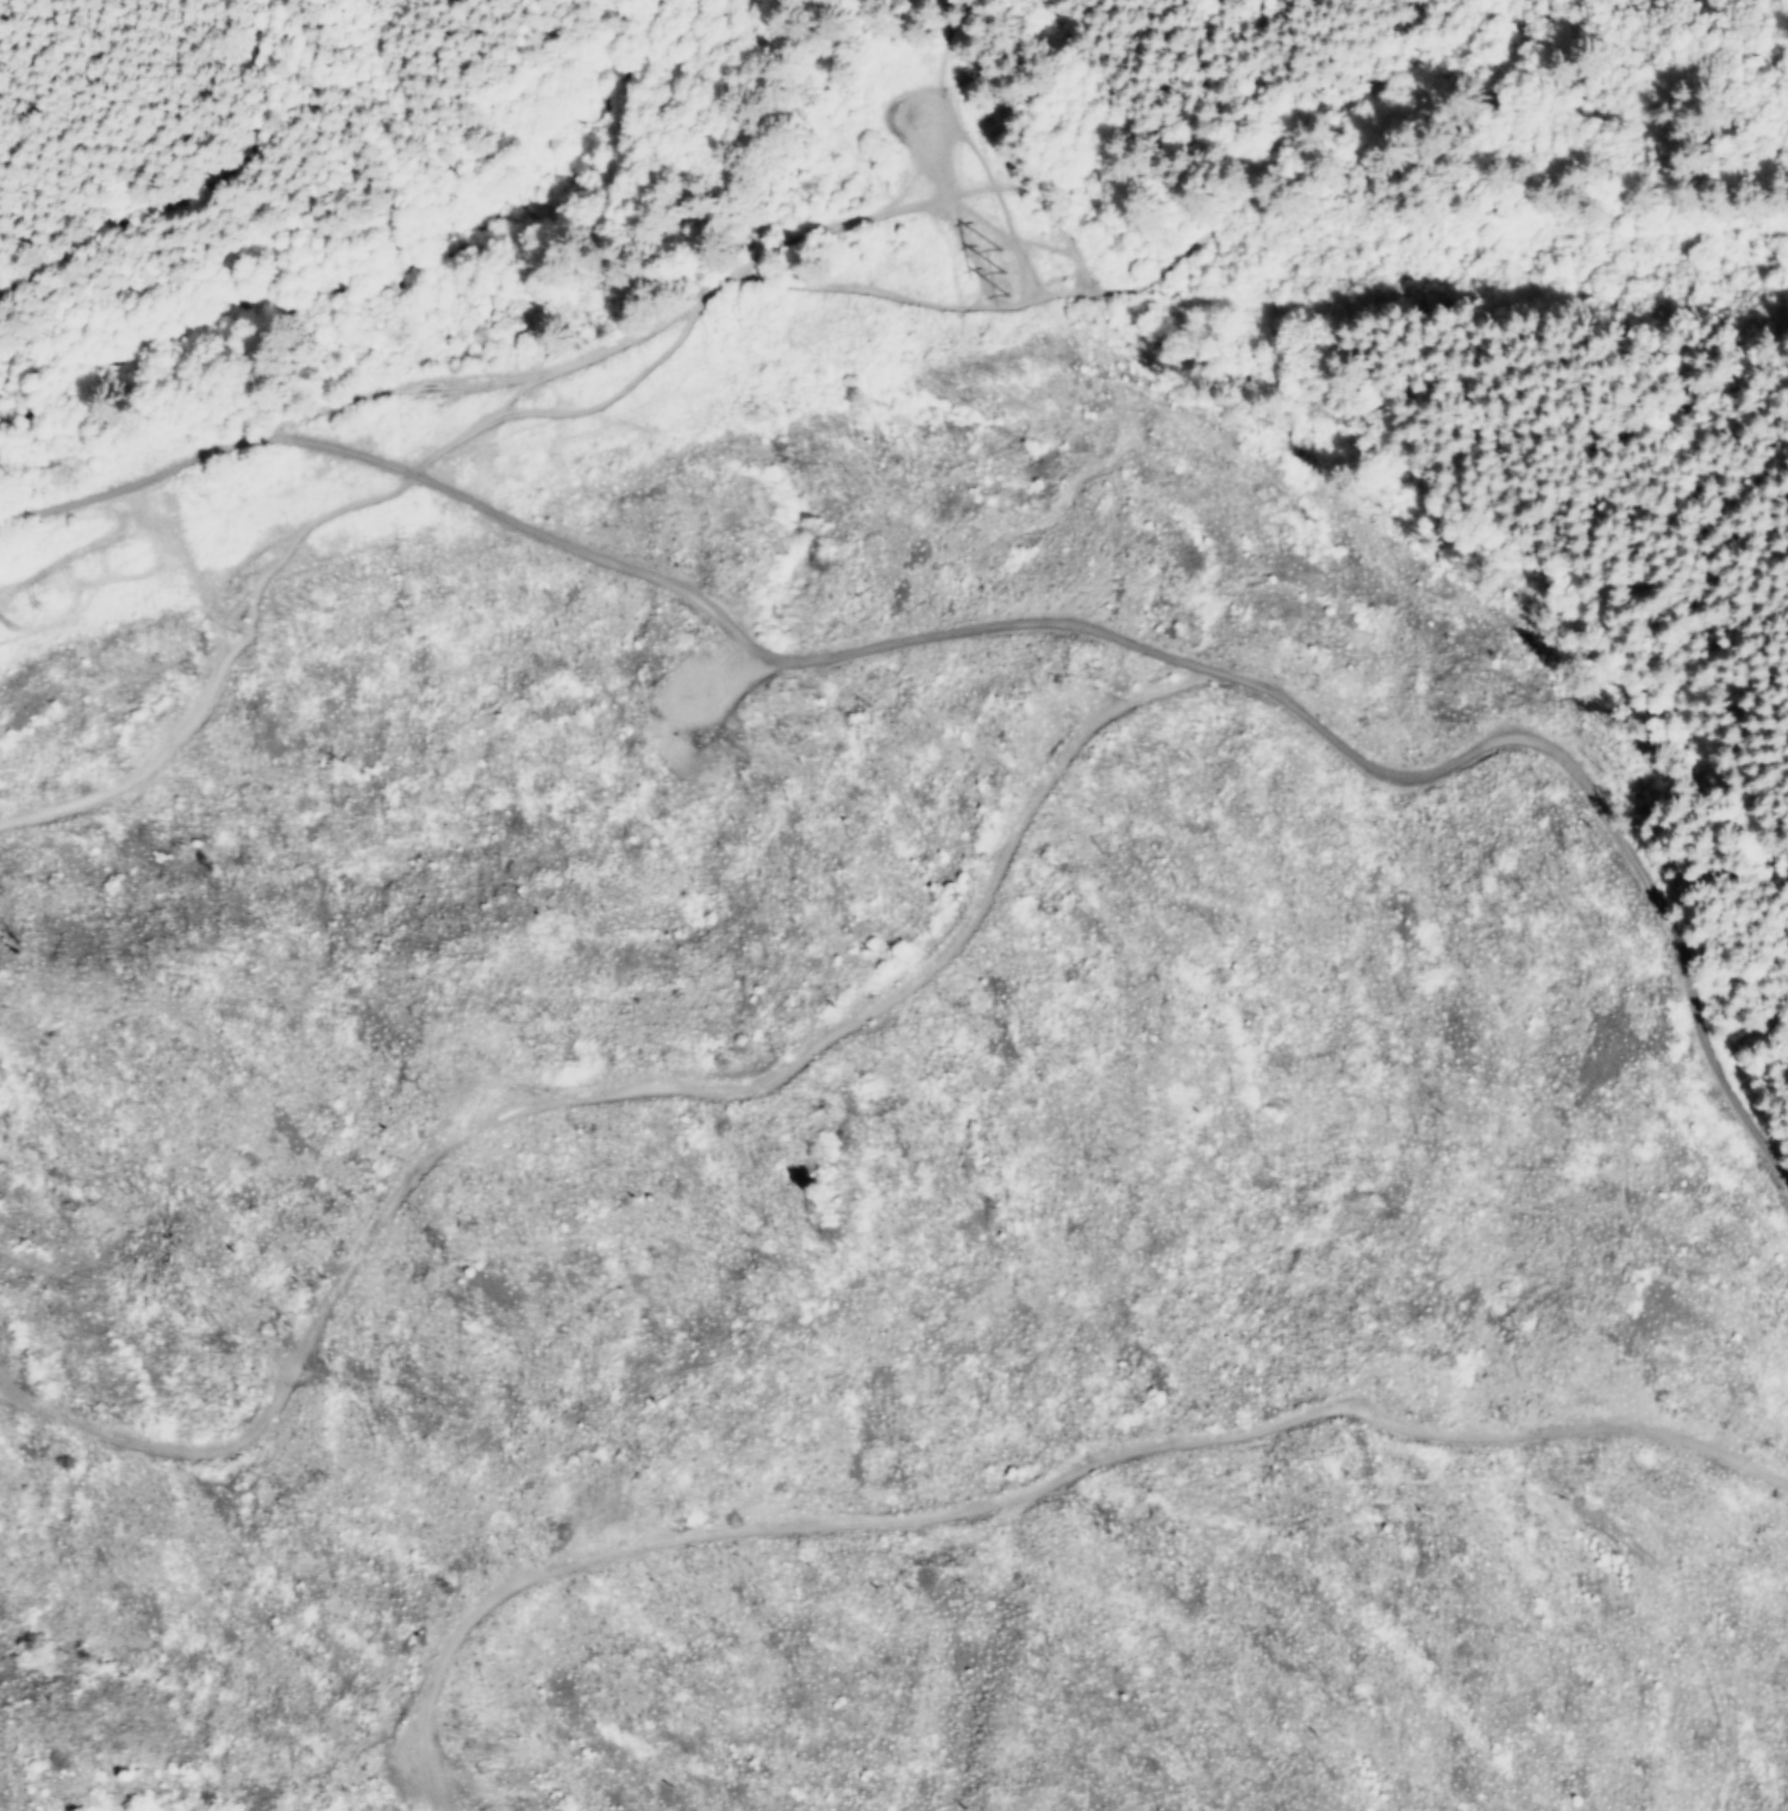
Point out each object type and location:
road: (32, 19)
road: (1065, 245)
power tower: (982, 257)
road: (288, 498)
road: (138, 679)
road: (1256, 697)

